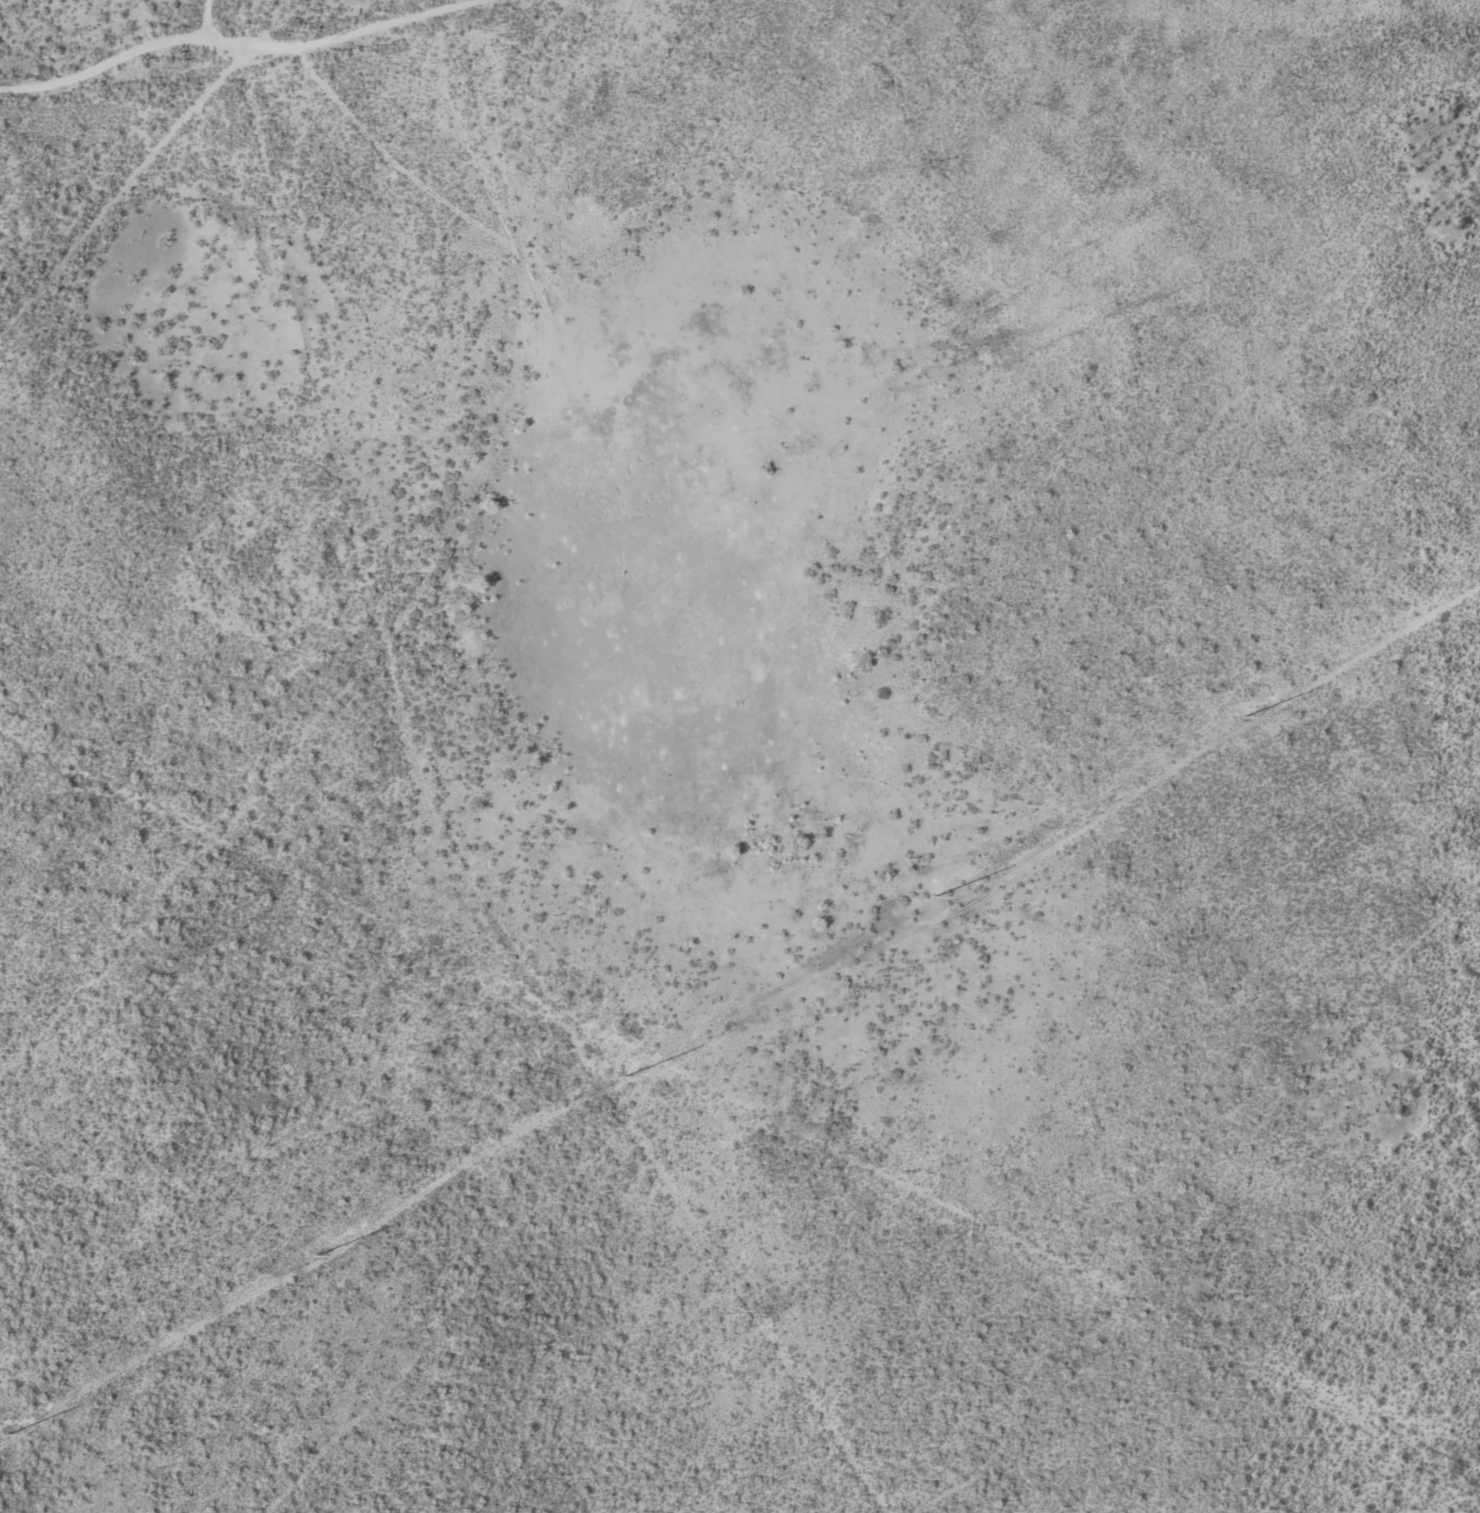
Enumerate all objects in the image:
road: (213, 19)
road: (248, 46)
power tower: (1242, 717)
power tower: (934, 894)
power tower: (625, 1076)
power tower: (318, 1254)
power tower: (4, 1436)

